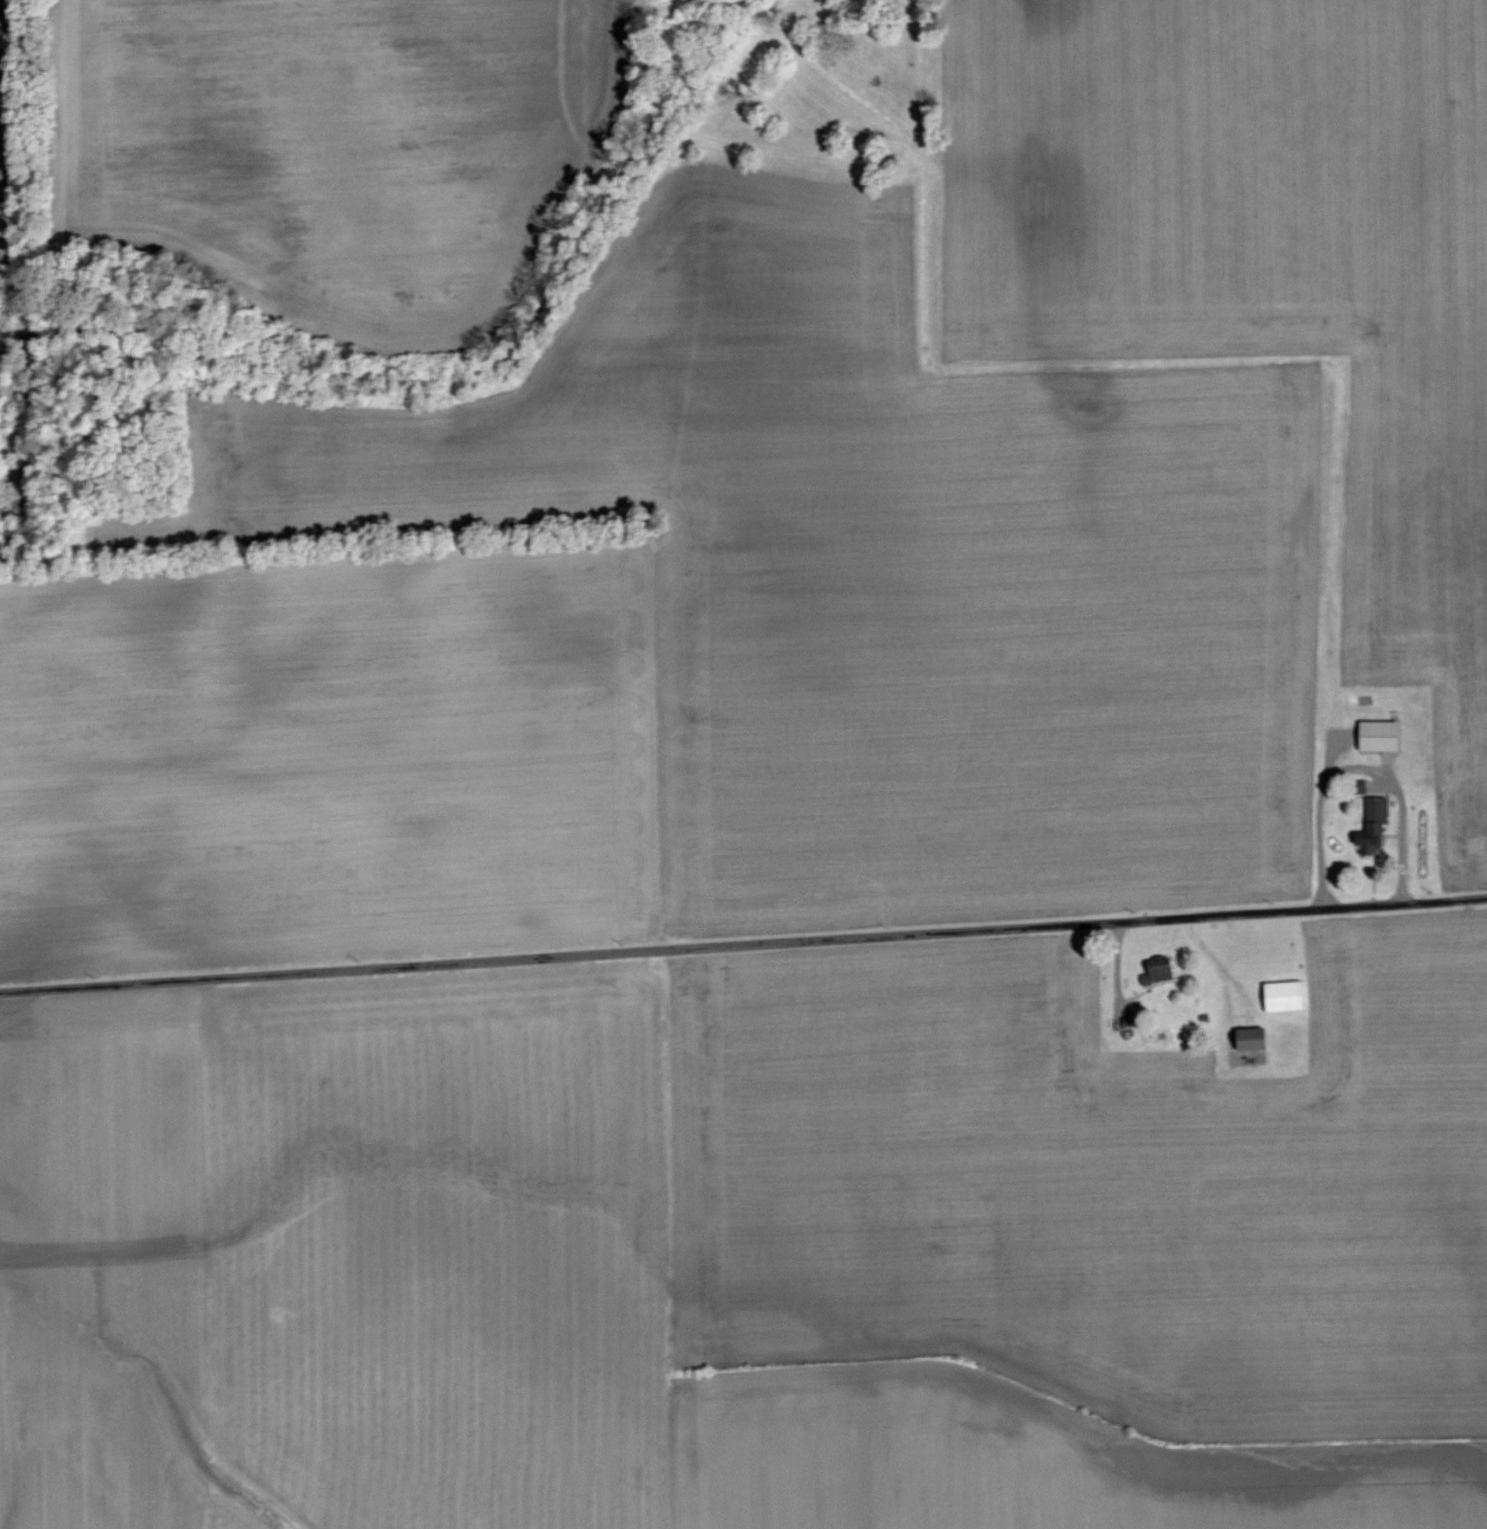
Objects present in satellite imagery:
building: (1375, 736)
road: (1358, 768)
building: (1359, 788)
building: (1372, 826)
road: (743, 944)
road: (1120, 973)
building: (1156, 974)
building: (1283, 997)

